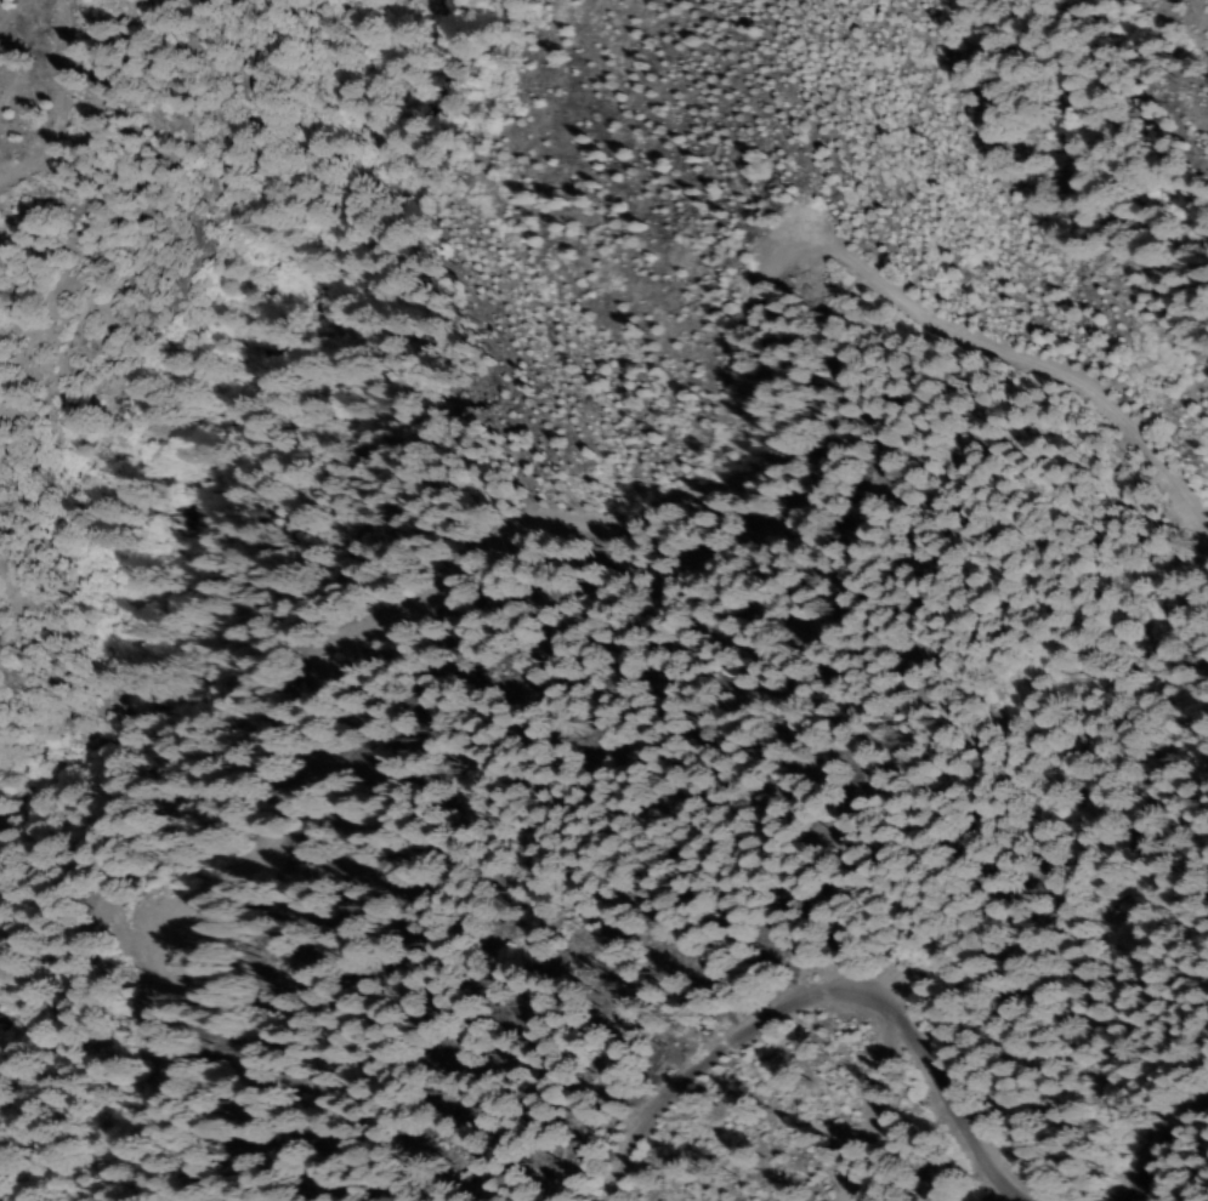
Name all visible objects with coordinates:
road: (827, 1006)
road: (857, 1100)
road: (1145, 1135)

